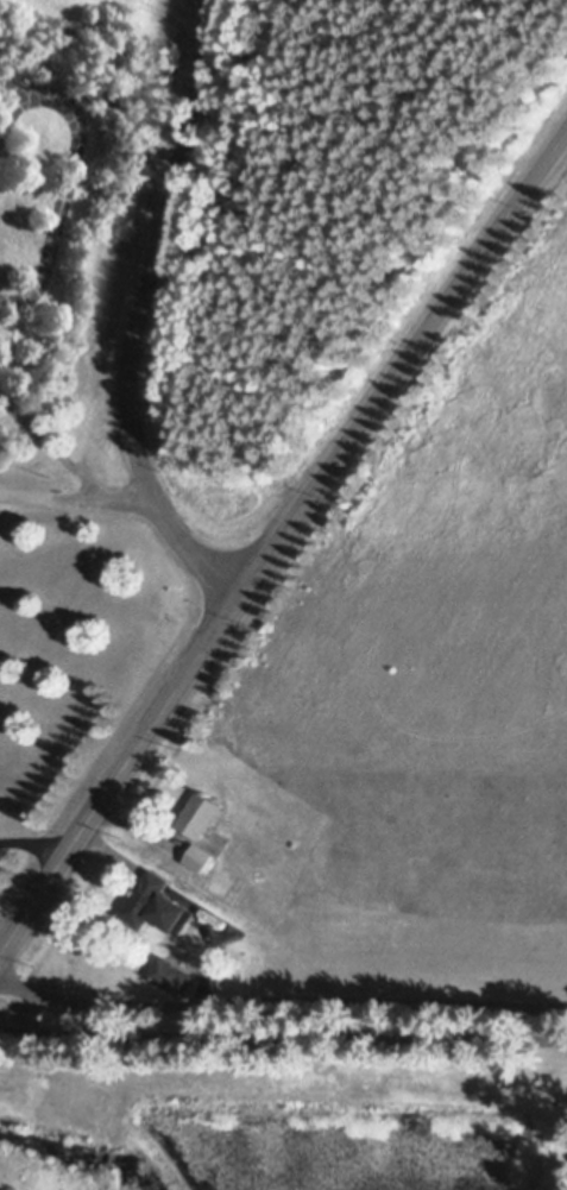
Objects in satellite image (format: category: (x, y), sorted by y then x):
road: (150, 248)
road: (440, 310)
road: (51, 448)
road: (74, 497)
road: (190, 548)
road: (153, 725)
building: (197, 816)
road: (38, 839)
building: (197, 858)
building: (153, 905)
road: (281, 1001)
road: (283, 1033)

